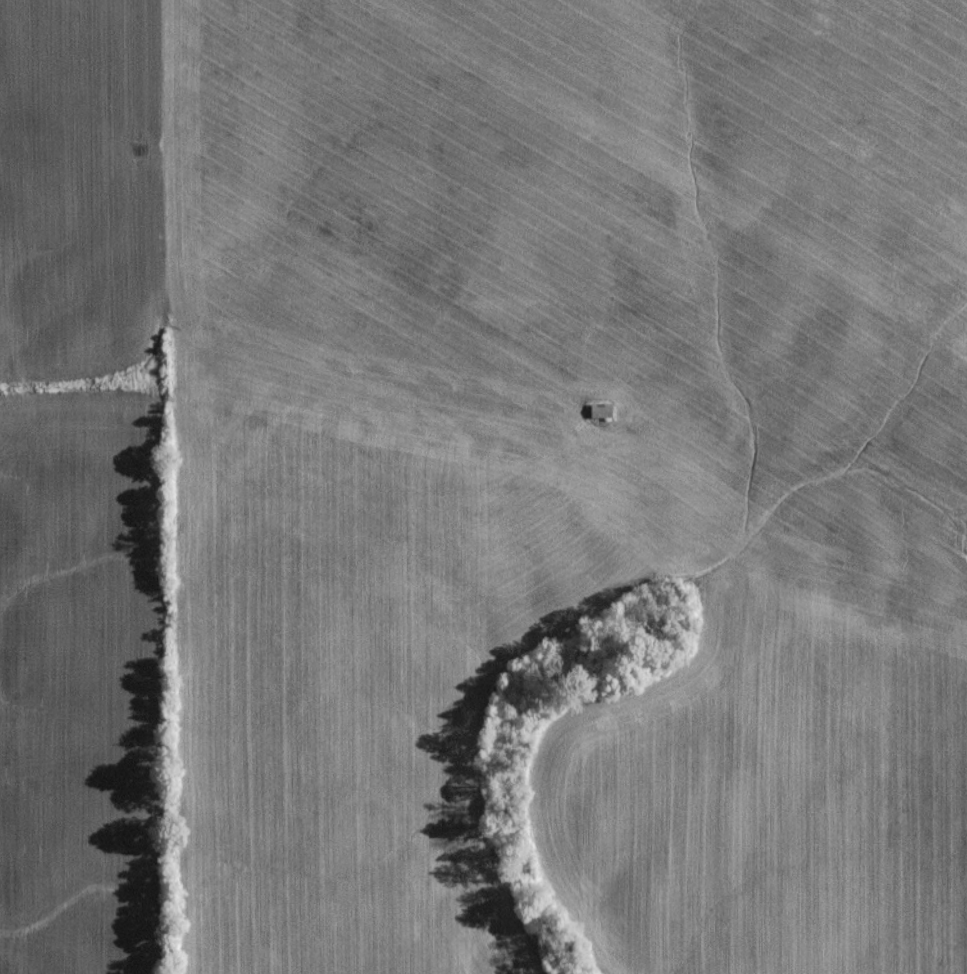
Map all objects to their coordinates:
building: (600, 416)

